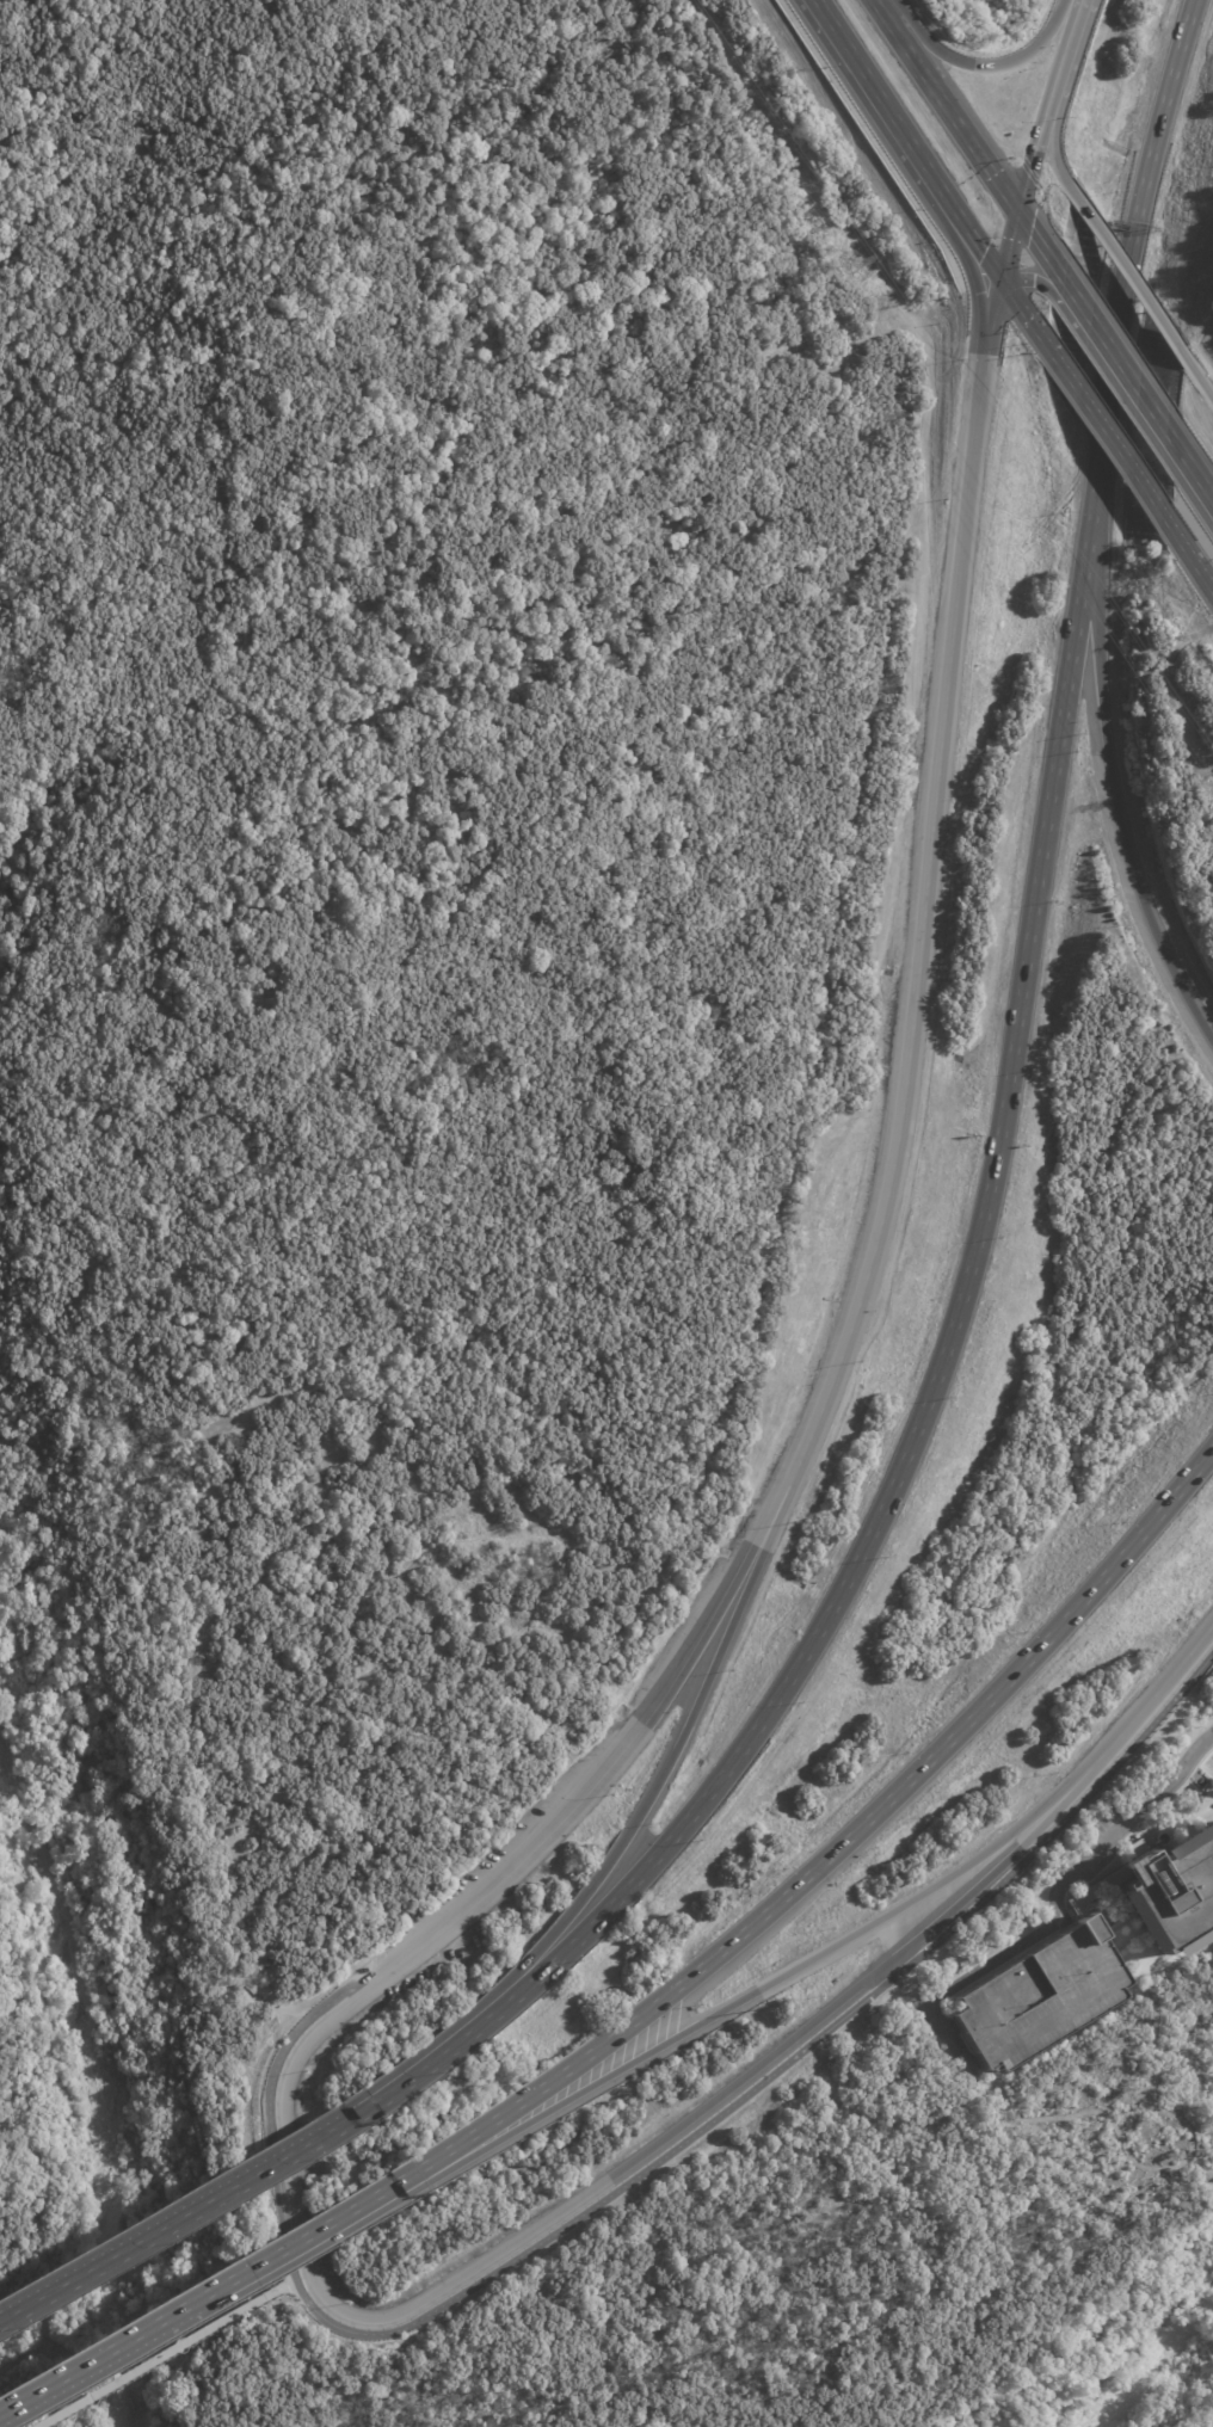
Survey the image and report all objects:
road: (888, 13)
road: (843, 51)
road: (996, 64)
road: (1061, 64)
road: (1171, 84)
road: (959, 117)
road: (1053, 159)
road: (919, 161)
road: (1032, 168)
traffic signals: (1020, 208)
road: (1041, 241)
power tower: (860, 264)
road: (1127, 273)
traffic signals: (1003, 282)
road: (980, 284)
road: (1006, 287)
road: (1115, 350)
road: (1114, 352)
road: (1199, 380)
road: (1107, 436)
road: (1190, 457)
road: (1187, 552)
power tower: (1211, 784)
road: (1113, 799)
road: (924, 886)
road: (950, 1343)
road: (144, 1657)
park: (411, 1729)
parking lot: (565, 1779)
road: (654, 1791)
road: (586, 1792)
park: (90, 1831)
road: (843, 1836)
road: (106, 1884)
building: (1174, 1890)
road: (1057, 1893)
road: (764, 1985)
building: (1037, 1997)
parking garage: (1037, 1997)
road: (322, 2001)
road: (437, 2053)
road: (787, 2063)
road: (763, 2070)
road: (281, 2078)
road: (270, 2157)
road: (44, 2167)
road: (92, 2209)
road: (189, 2211)
road: (307, 2236)
road: (158, 2303)
road: (229, 2342)
road: (162, 2353)
road: (97, 2359)
road: (23, 2365)

